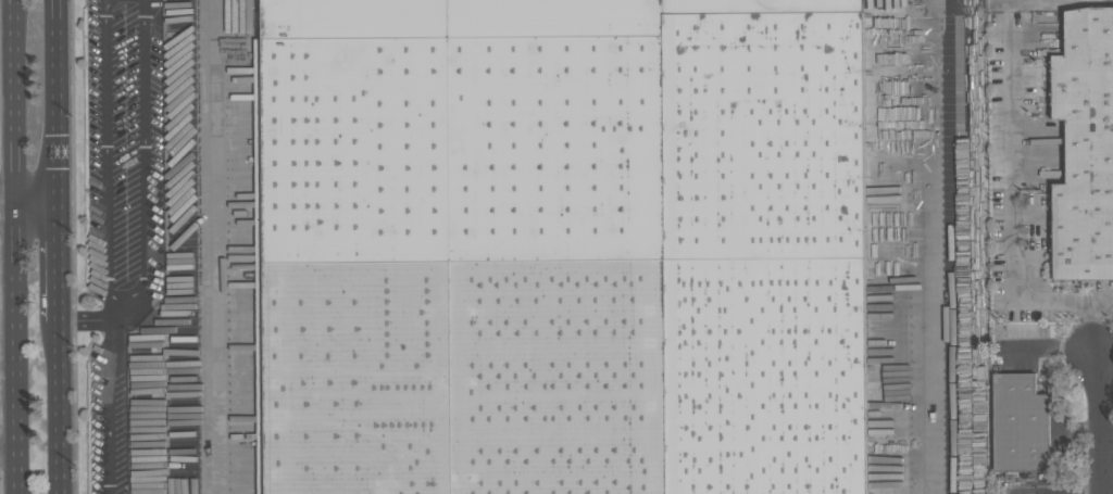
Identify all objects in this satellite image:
road: (107, 1)
railway: (505, 1)
railway: (672, 9)
road: (58, 101)
building: (1084, 147)
road: (28, 202)
road: (1010, 232)
road: (21, 246)
road: (213, 246)
building: (563, 246)
road: (921, 246)
road: (59, 258)
road: (123, 301)
road: (1102, 301)
road: (100, 319)
road: (1104, 345)
road: (61, 404)
road: (110, 407)
building: (1020, 423)
road: (1104, 426)
road: (1109, 459)

